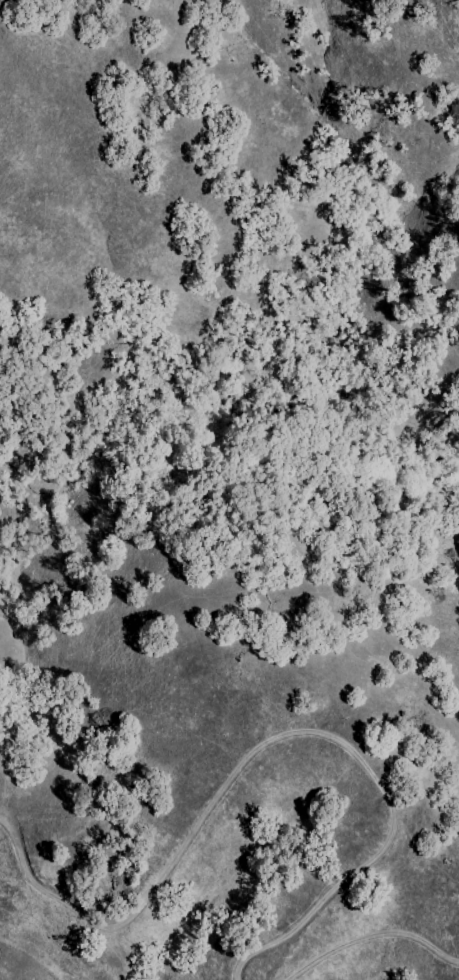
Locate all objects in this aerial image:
road: (263, 738)
road: (373, 940)

